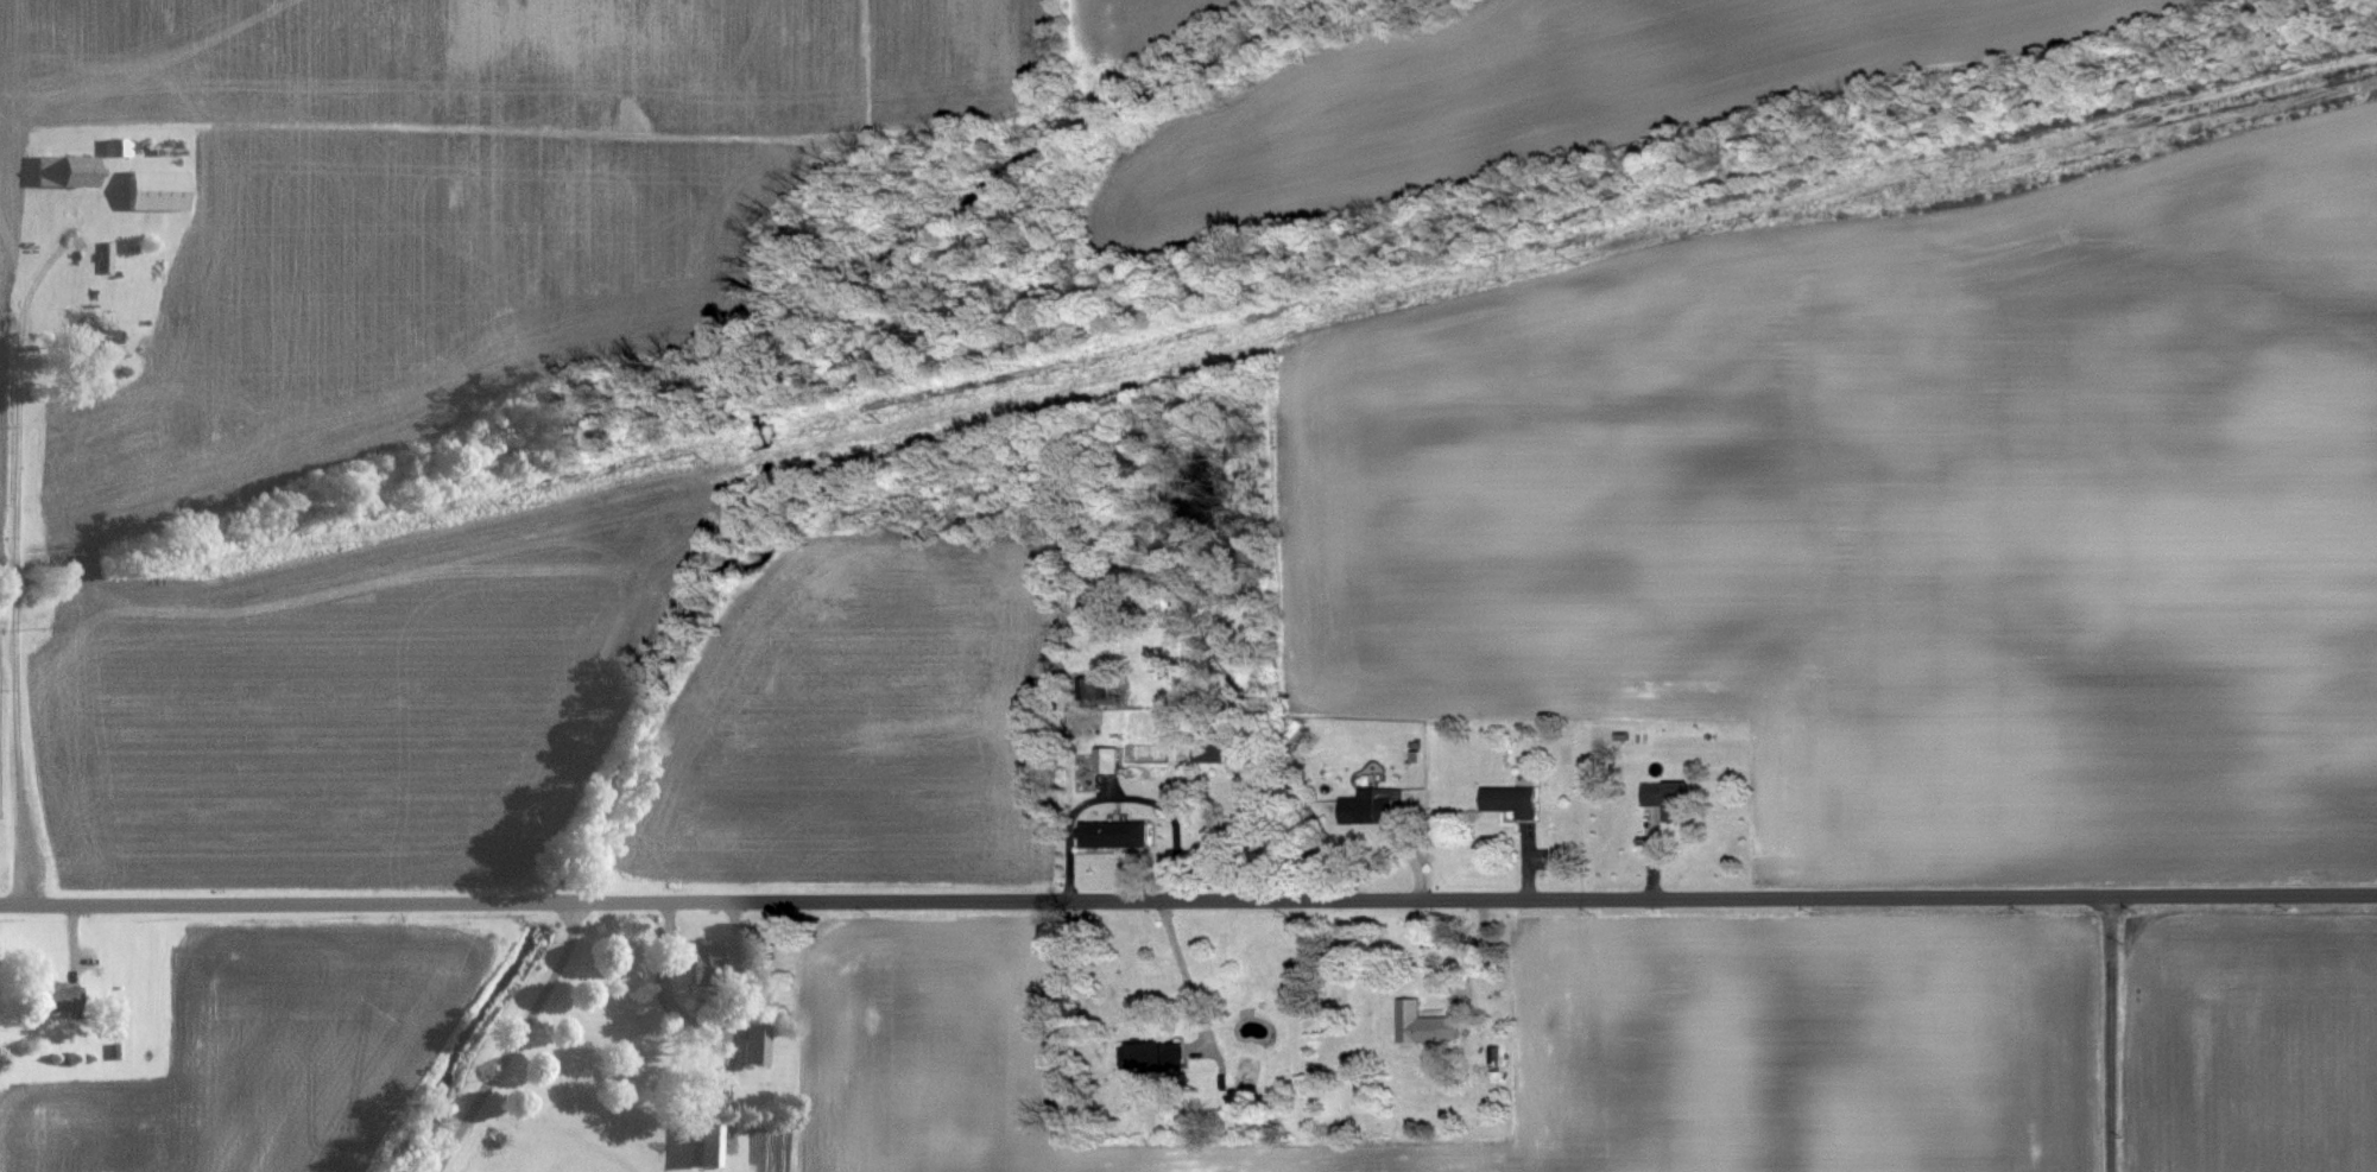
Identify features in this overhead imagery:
building: (115, 147)
building: (63, 171)
building: (154, 190)
building: (91, 336)
road: (15, 570)
building: (1096, 689)
building: (1212, 754)
building: (1108, 760)
road: (1121, 794)
building: (1673, 800)
building: (1515, 802)
building: (1380, 806)
building: (1118, 834)
road: (1655, 860)
road: (1415, 861)
road: (1532, 862)
road: (1239, 897)
road: (51, 901)
road: (72, 940)
road: (1474, 954)
road: (1186, 969)
building: (707, 973)
road: (665, 983)
building: (57, 997)
road: (731, 1016)
building: (1427, 1025)
road: (2109, 1033)
road: (512, 1038)
building: (756, 1045)
building: (1152, 1056)
building: (706, 1146)

